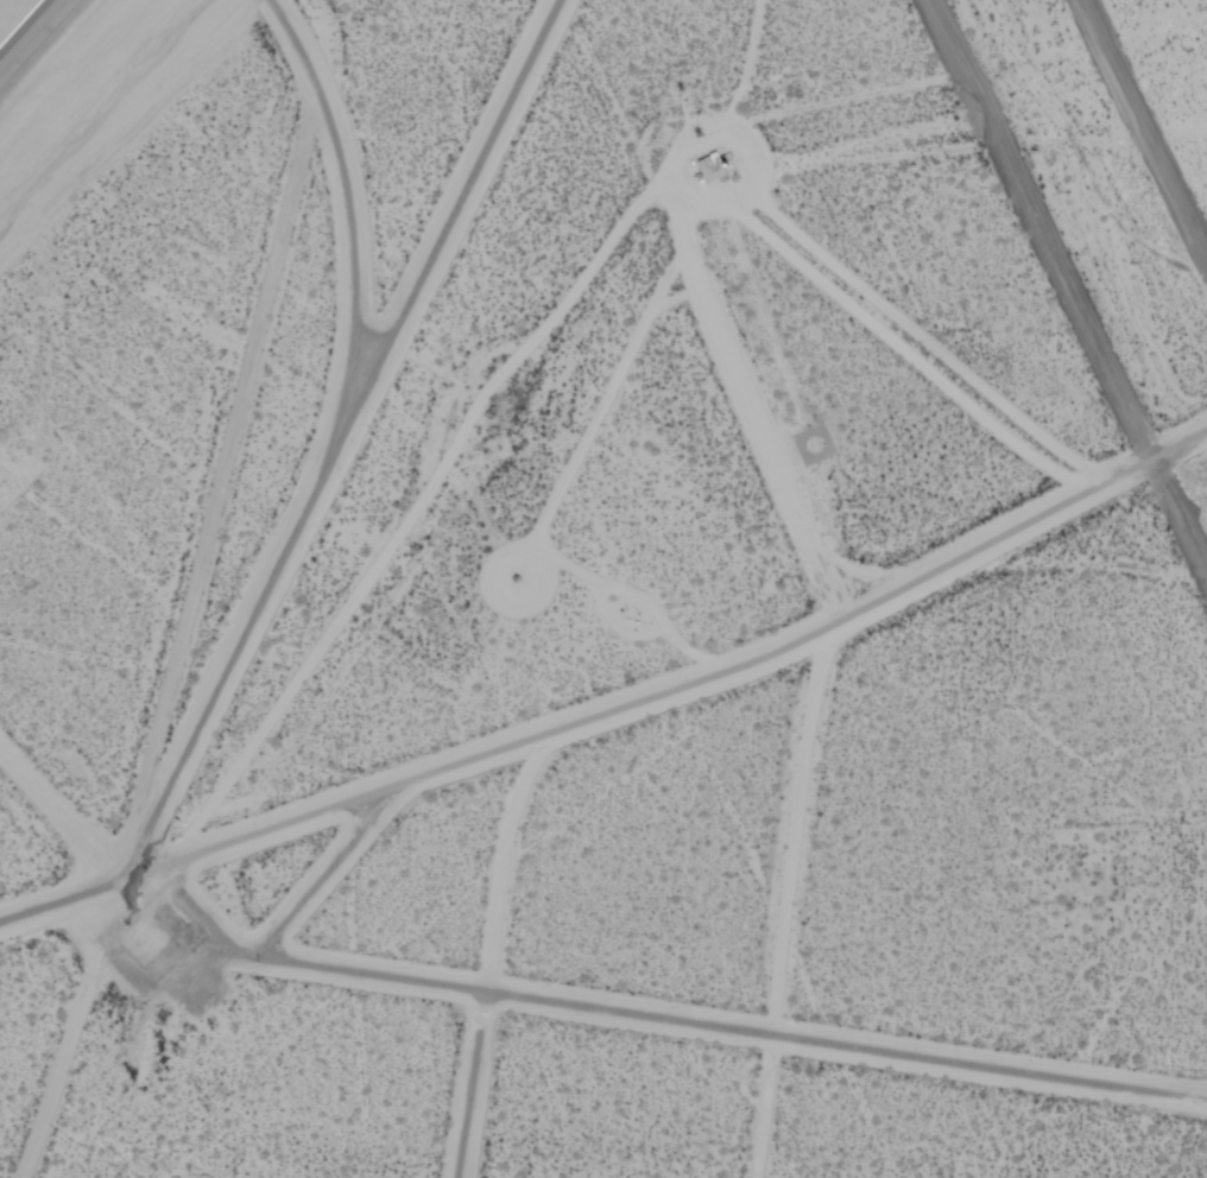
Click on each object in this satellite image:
building: (725, 160)
building: (712, 171)
airport: (603, 589)
building: (173, 919)

